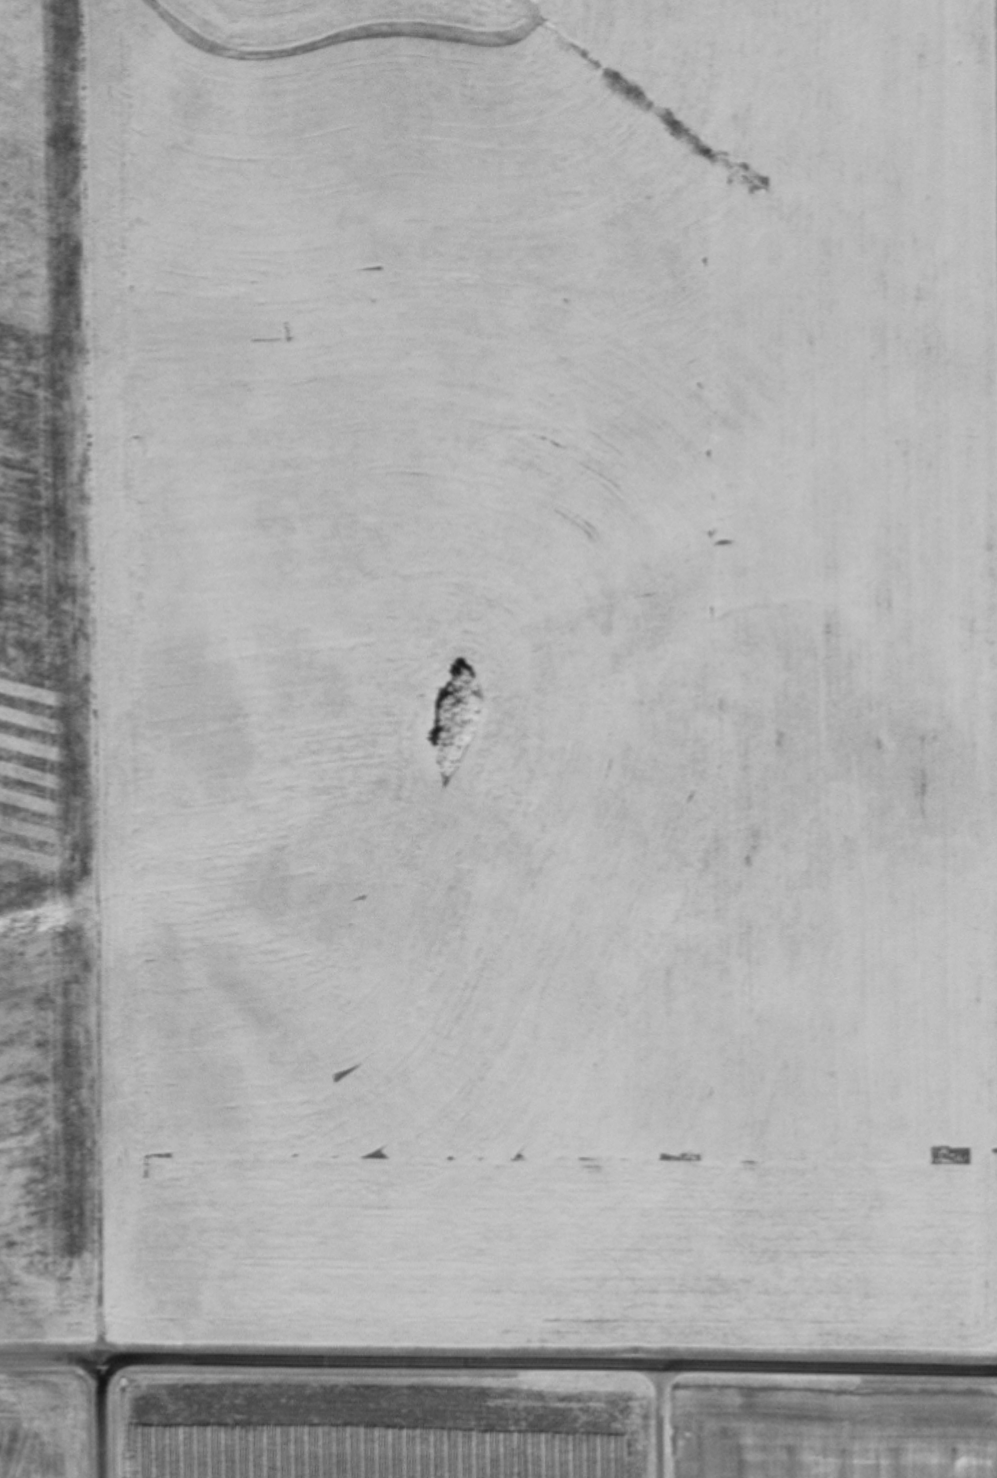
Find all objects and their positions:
road: (498, 1368)
road: (111, 1422)
road: (661, 1424)

